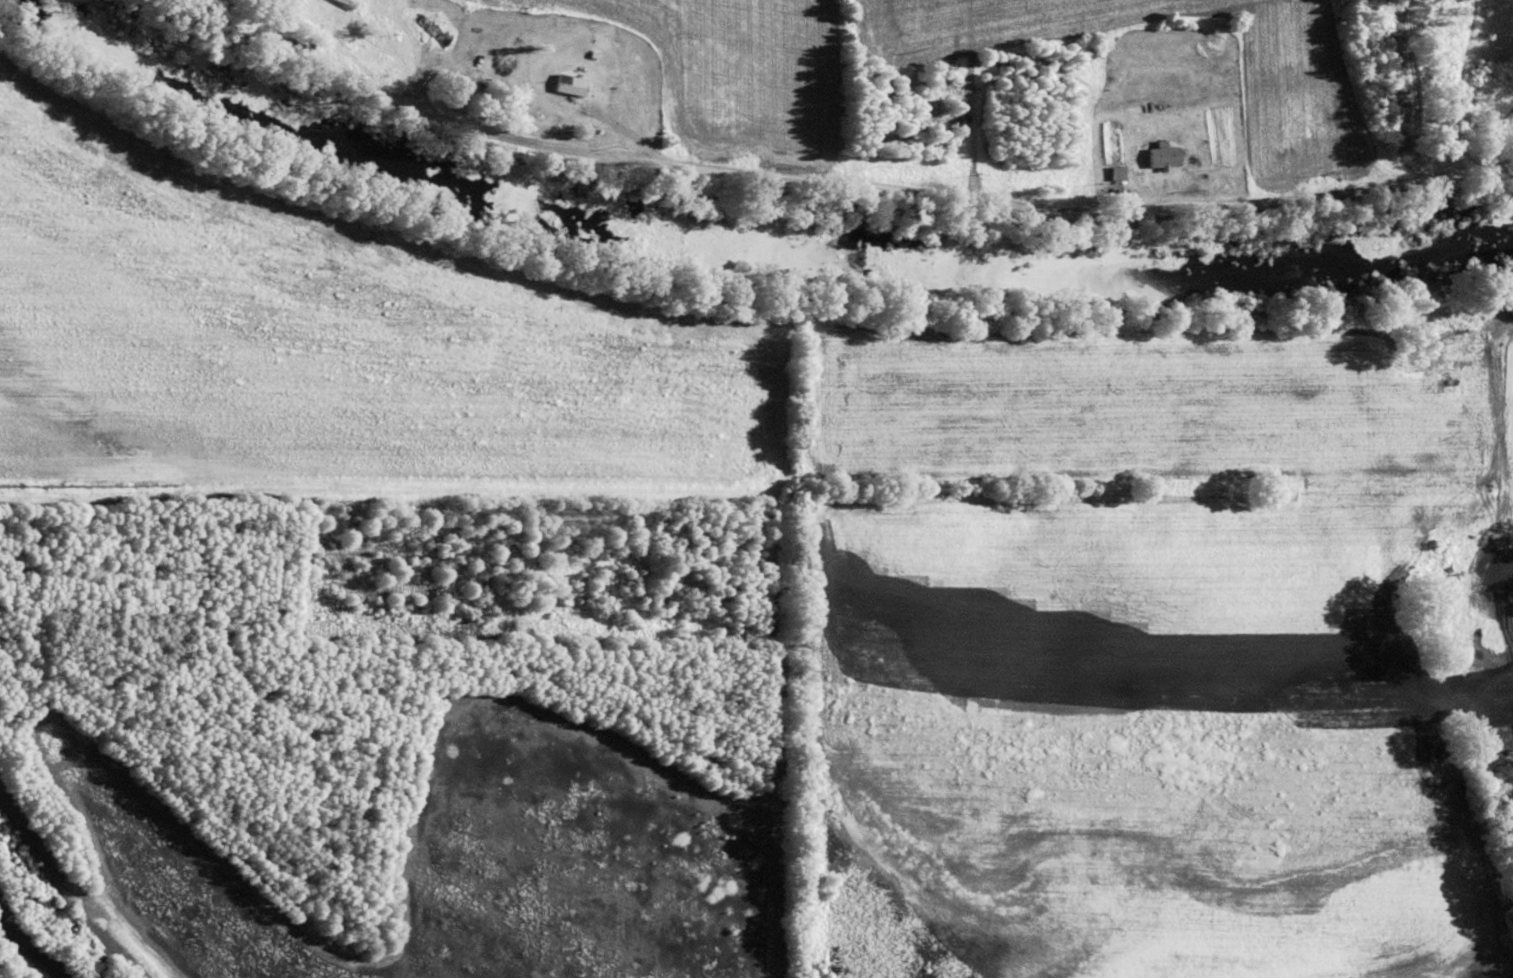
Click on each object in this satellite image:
building: (569, 85)
road: (819, 177)
river: (772, 240)

